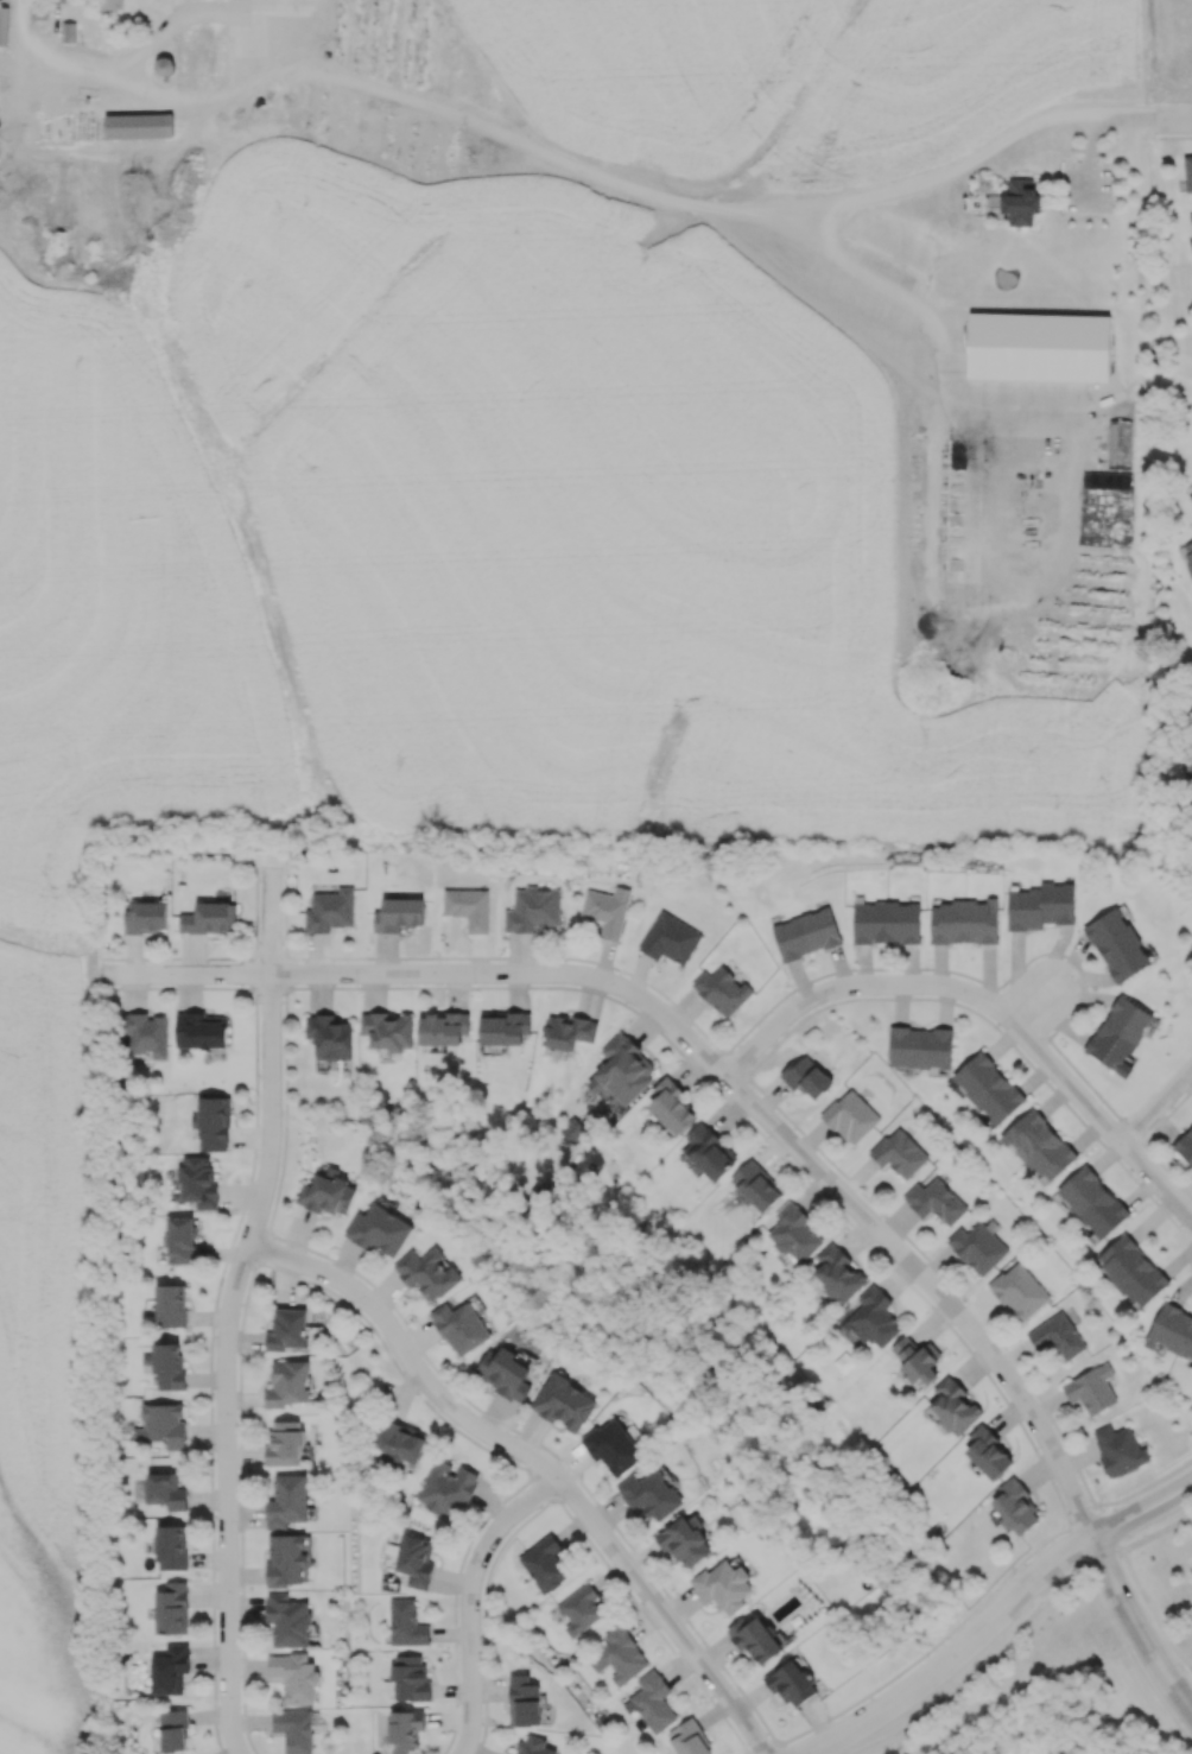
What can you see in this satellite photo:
building: (58, 0)
building: (112, 5)
building: (38, 10)
road: (196, 10)
building: (4, 25)
building: (68, 31)
crop: (1166, 49)
road: (1177, 121)
building: (139, 125)
road: (1093, 137)
road: (1174, 138)
road: (569, 162)
building: (1187, 172)
parking lot: (1088, 185)
building: (1020, 201)
building: (1191, 215)
road: (931, 329)
building: (1039, 346)
building: (1191, 496)
crop: (534, 539)
building: (1187, 555)
building: (1191, 710)
building: (1190, 760)
building: (1040, 905)
building: (468, 907)
building: (532, 908)
building: (329, 910)
building: (607, 910)
building: (398, 913)
building: (145, 916)
building: (209, 917)
road: (272, 920)
building: (886, 922)
building: (964, 922)
building: (805, 933)
building: (670, 938)
building: (1117, 944)
building: (1191, 949)
building: (721, 990)
road: (985, 1003)
road: (1034, 1011)
building: (503, 1027)
building: (444, 1028)
building: (201, 1030)
building: (387, 1030)
building: (568, 1032)
building: (145, 1033)
building: (1120, 1034)
building: (329, 1037)
building: (920, 1046)
road: (703, 1059)
building: (623, 1069)
building: (806, 1076)
building: (988, 1087)
building: (671, 1104)
road: (1161, 1114)
building: (850, 1116)
building: (213, 1123)
building: (573, 1129)
building: (1038, 1145)
building: (1185, 1145)
building: (709, 1151)
building: (899, 1153)
building: (198, 1182)
building: (756, 1185)
building: (328, 1195)
building: (934, 1201)
building: (1092, 1203)
building: (379, 1230)
building: (793, 1233)
building: (179, 1239)
building: (977, 1247)
building: (1131, 1271)
building: (838, 1272)
building: (427, 1273)
building: (1019, 1291)
building: (170, 1304)
building: (874, 1317)
building: (461, 1326)
building: (287, 1329)
building: (1172, 1330)
building: (1057, 1335)
building: (915, 1360)
road: (226, 1362)
building: (167, 1364)
building: (505, 1373)
building: (287, 1383)
building: (1091, 1388)
building: (564, 1401)
building: (161, 1425)
building: (285, 1442)
building: (399, 1442)
building: (613, 1446)
building: (1118, 1449)
building: (988, 1452)
road: (534, 1463)
building: (446, 1487)
building: (165, 1490)
building: (649, 1494)
building: (287, 1500)
building: (1015, 1506)
road: (1143, 1512)
road: (1156, 1533)
building: (684, 1539)
building: (171, 1547)
building: (286, 1559)
building: (414, 1560)
building: (544, 1563)
building: (723, 1587)
road: (474, 1603)
building: (171, 1608)
building: (581, 1609)
road: (1152, 1611)
building: (289, 1620)
building: (406, 1623)
road: (1140, 1635)
building: (754, 1636)
building: (621, 1654)
road: (960, 1655)
road: (995, 1658)
building: (170, 1670)
building: (294, 1676)
building: (410, 1677)
building: (792, 1684)
building: (524, 1699)
building: (653, 1701)
building: (173, 1729)
building: (294, 1729)
building: (404, 1729)
building: (689, 1739)
building: (533, 1746)
building: (508, 1753)

